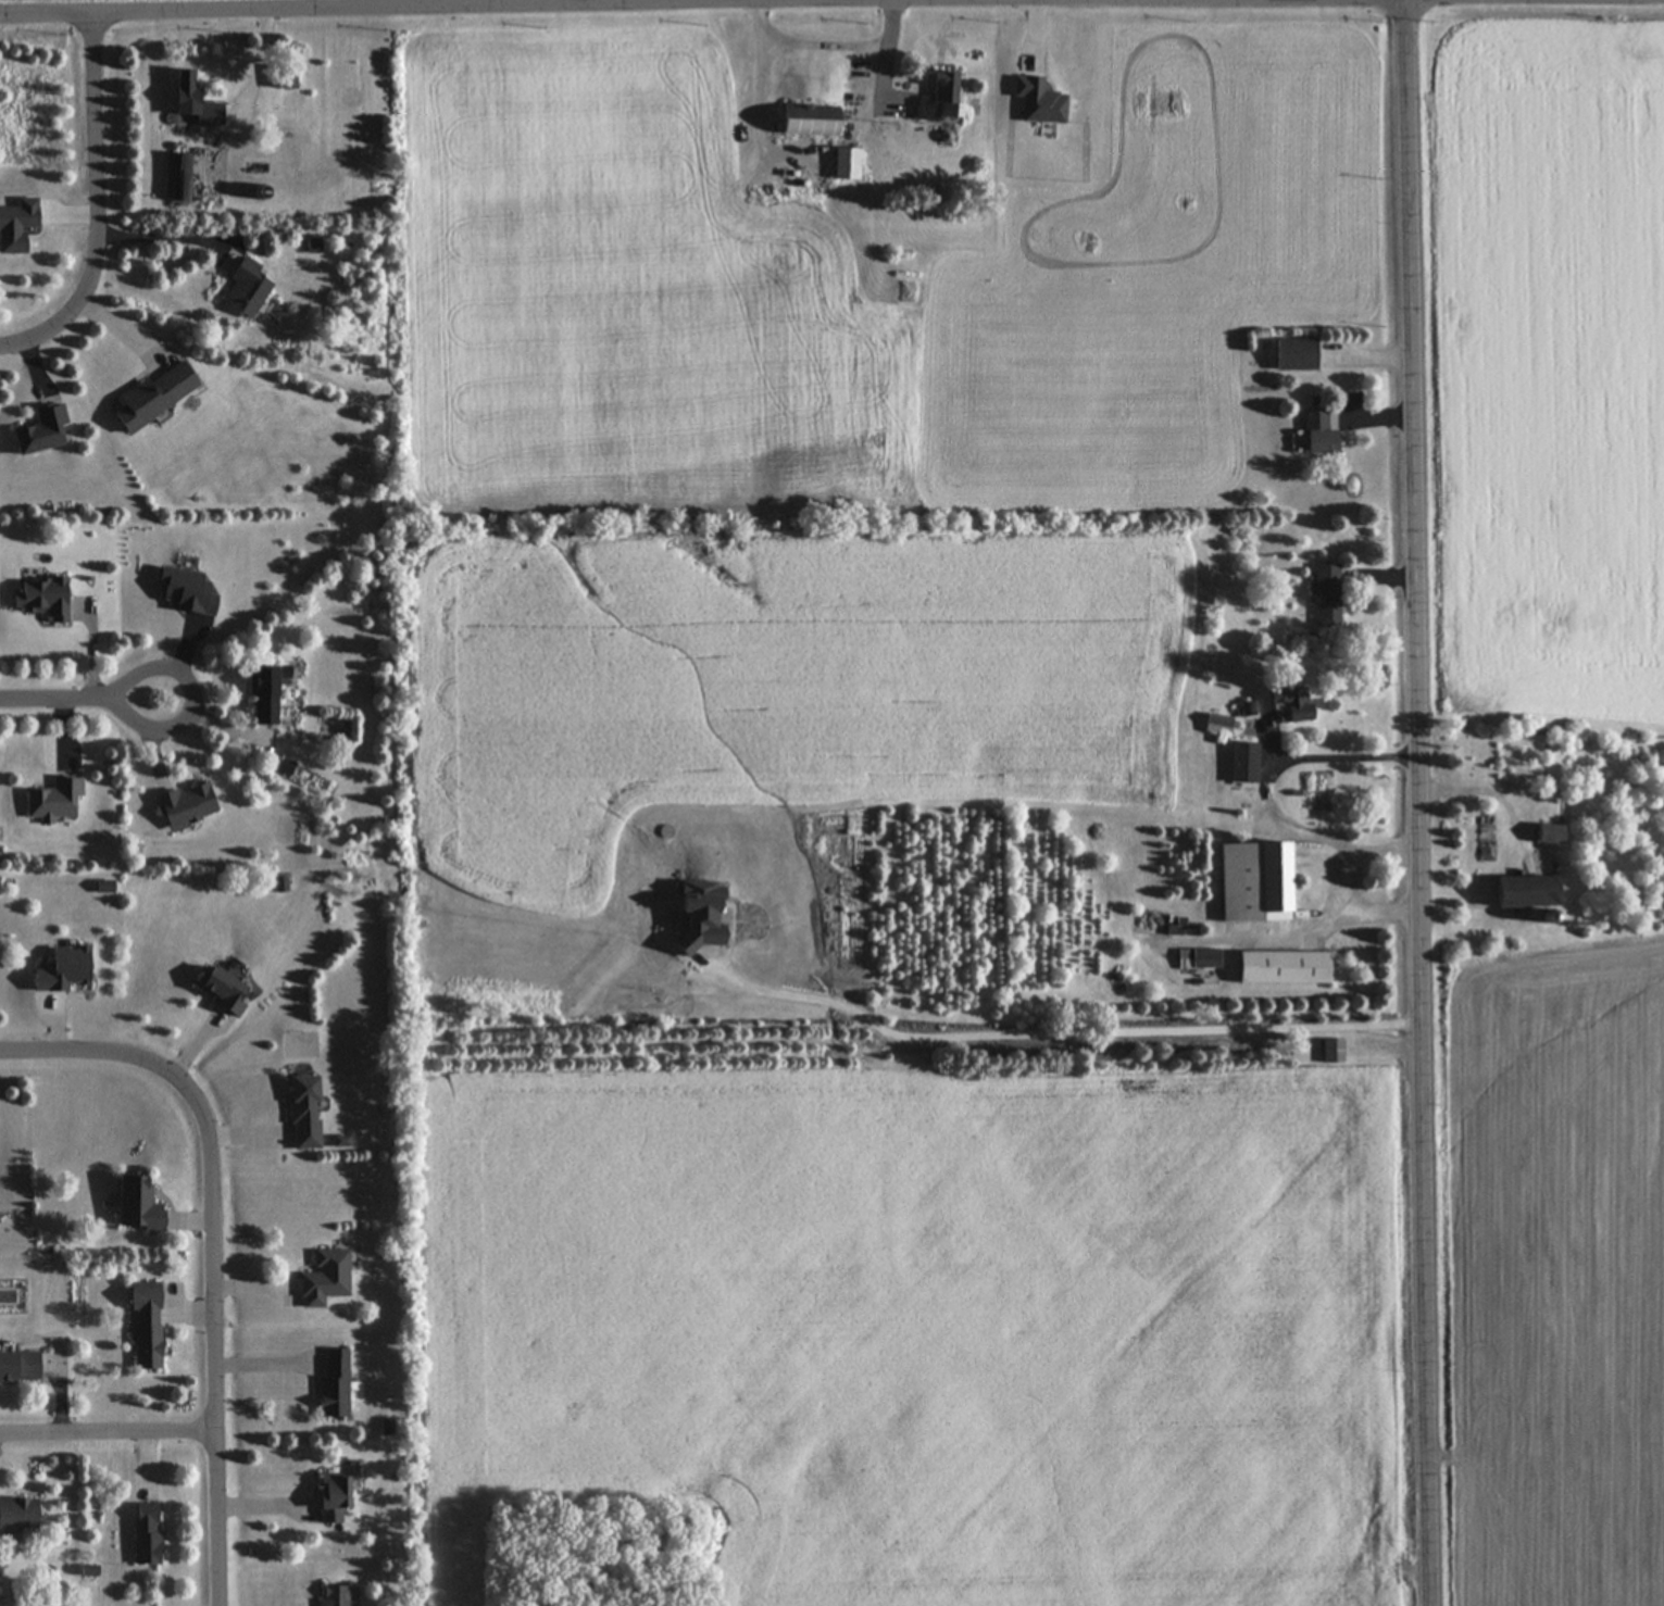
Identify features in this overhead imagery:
road: (501, 5)
road: (825, 40)
road: (865, 73)
building: (287, 89)
building: (184, 91)
building: (938, 98)
building: (808, 121)
building: (279, 164)
building: (846, 164)
building: (179, 177)
road: (90, 198)
road: (151, 236)
building: (245, 288)
building: (1294, 354)
building: (153, 396)
building: (40, 430)
building: (1317, 432)
building: (1326, 594)
building: (41, 597)
building: (265, 692)
road: (84, 695)
building: (1289, 704)
building: (1217, 725)
road: (1346, 755)
building: (1243, 762)
building: (54, 800)
road: (1416, 802)
building: (185, 805)
building: (1253, 882)
building: (1524, 892)
building: (1173, 930)
building: (1199, 959)
building: (66, 967)
building: (1283, 969)
building: (222, 991)
road: (1052, 1032)
building: (1333, 1052)
building: (303, 1113)
building: (135, 1205)
road: (220, 1242)
building: (324, 1279)
building: (145, 1325)
building: (17, 1366)
building: (333, 1385)
road: (112, 1438)
building: (331, 1498)
building: (18, 1515)
building: (145, 1533)
building: (330, 1596)

